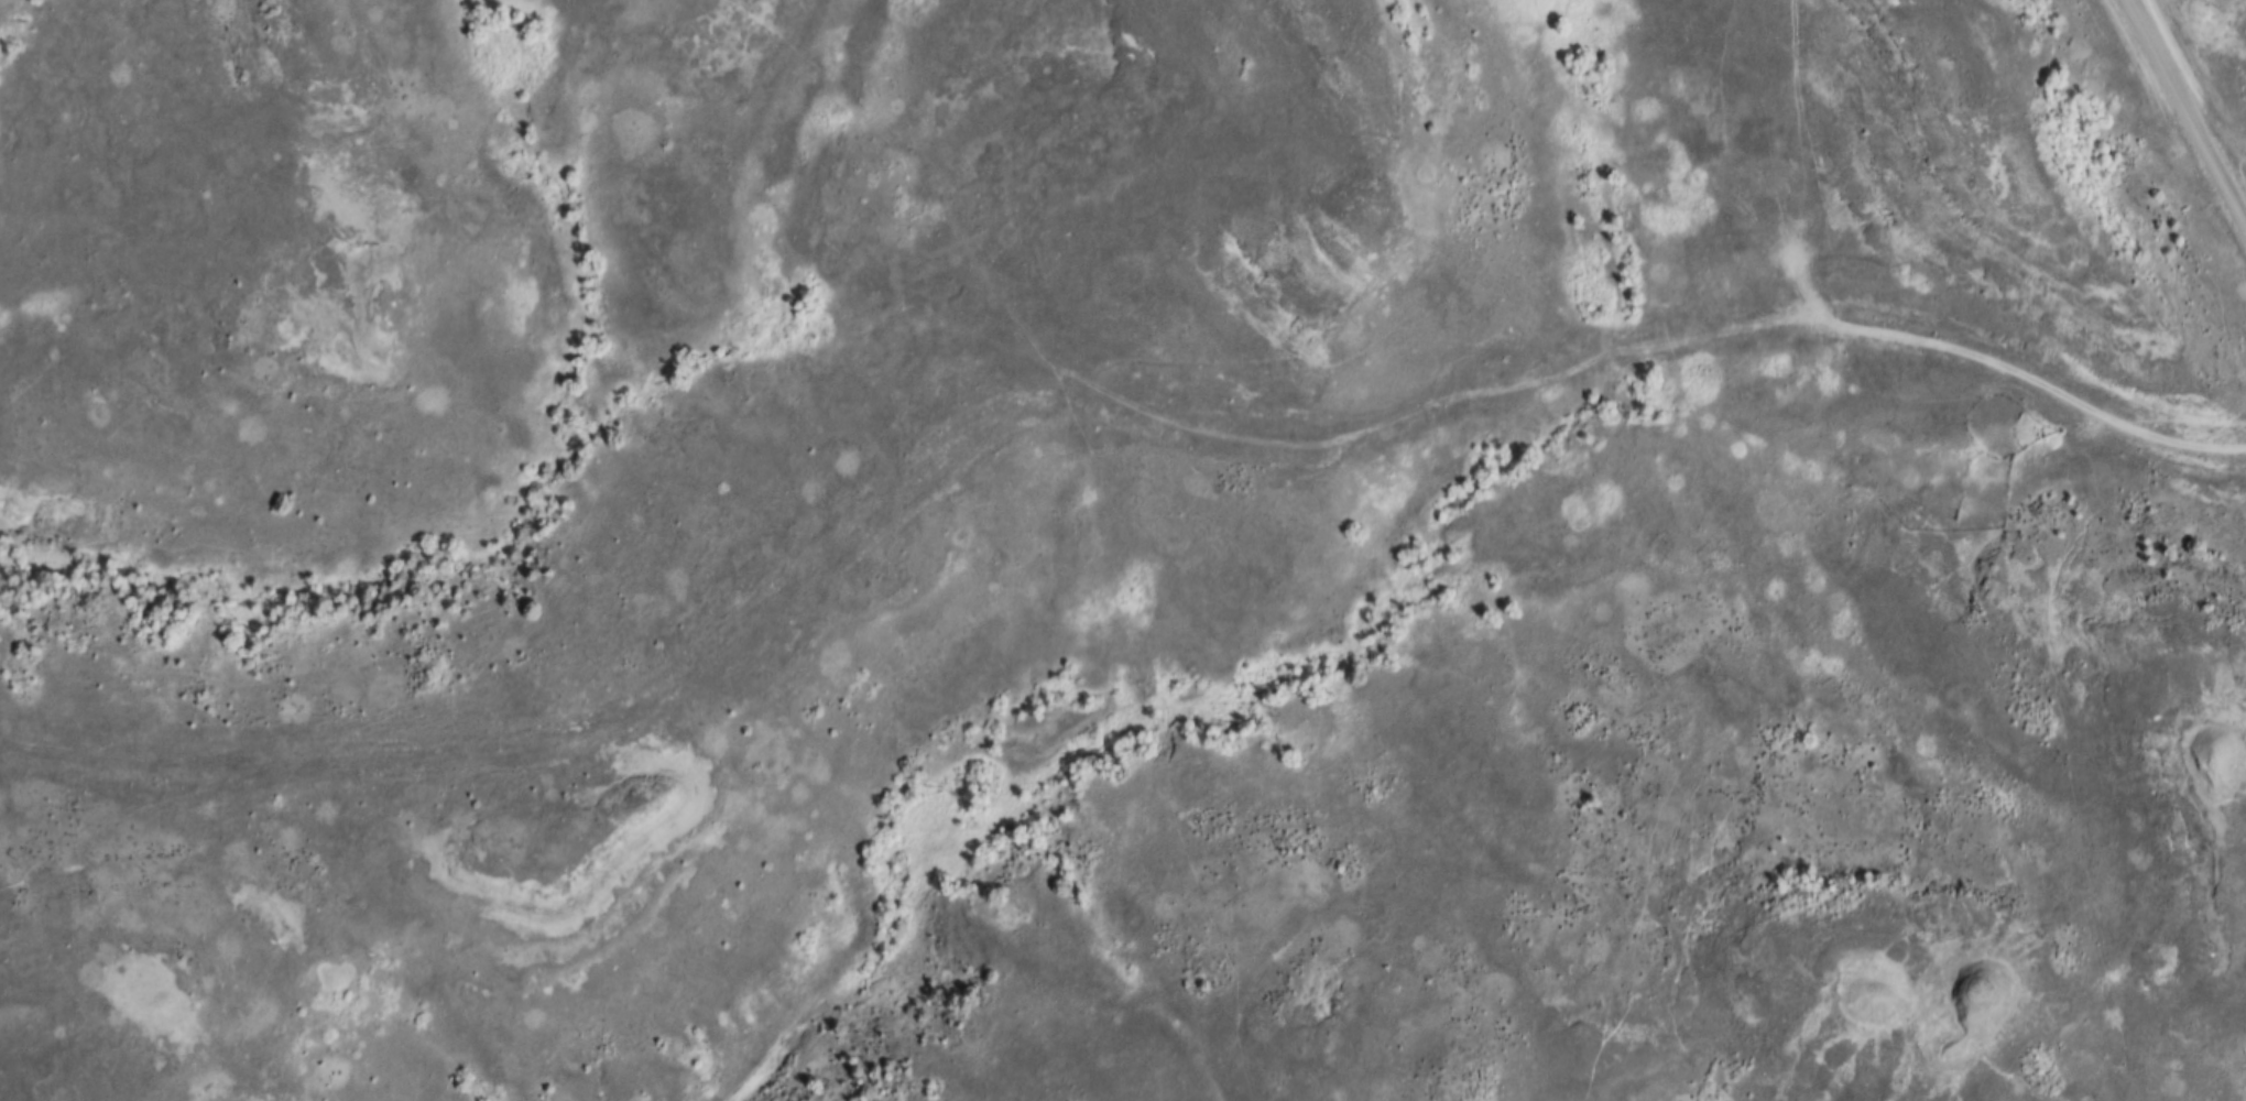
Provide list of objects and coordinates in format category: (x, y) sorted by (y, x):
road: (2189, 111)

